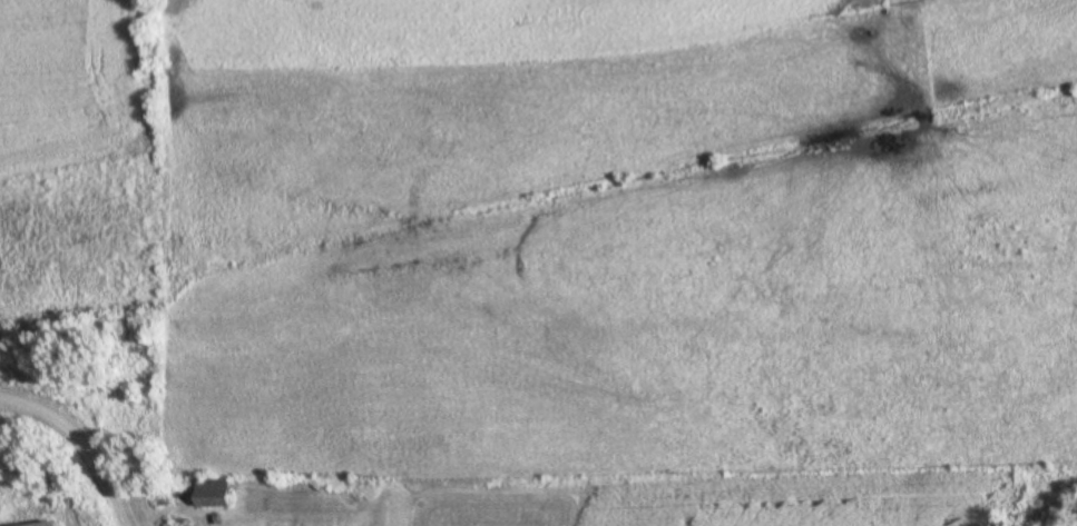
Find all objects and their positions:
road: (81, 440)

